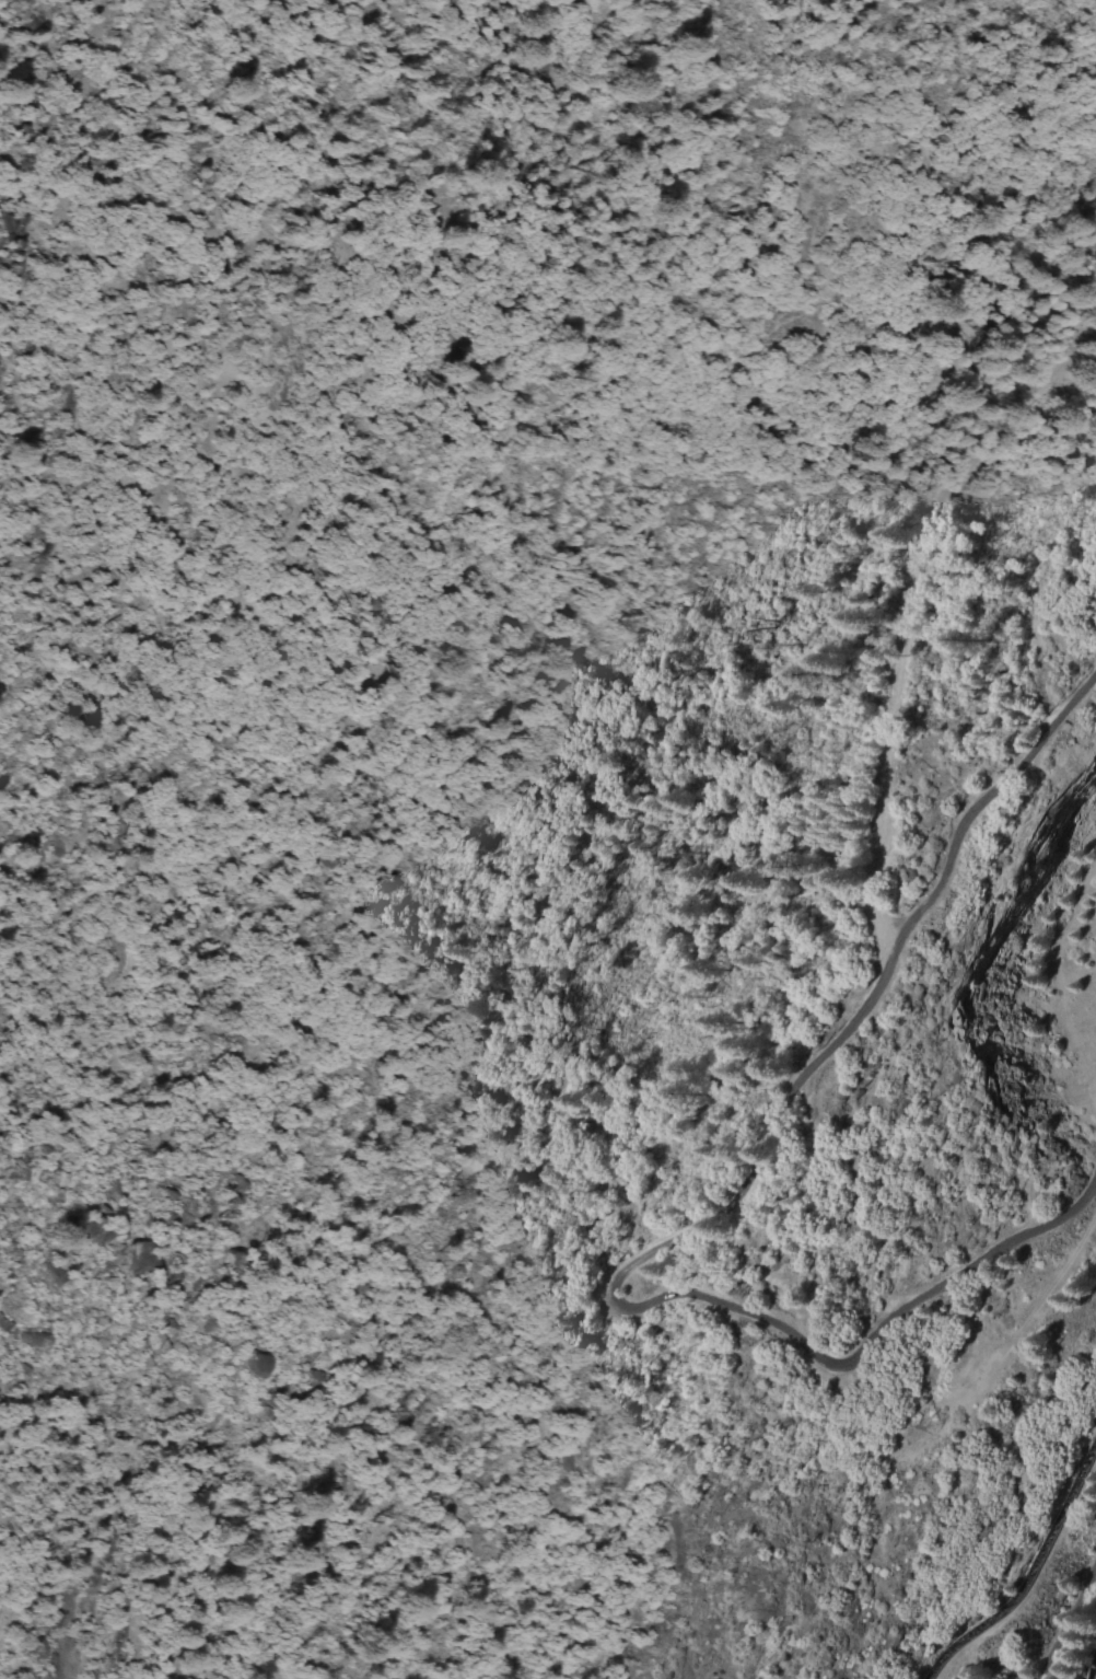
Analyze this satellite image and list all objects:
road: (896, 627)
road: (720, 1195)
power tower: (910, 1422)
road: (1063, 1611)
river: (1071, 1645)

